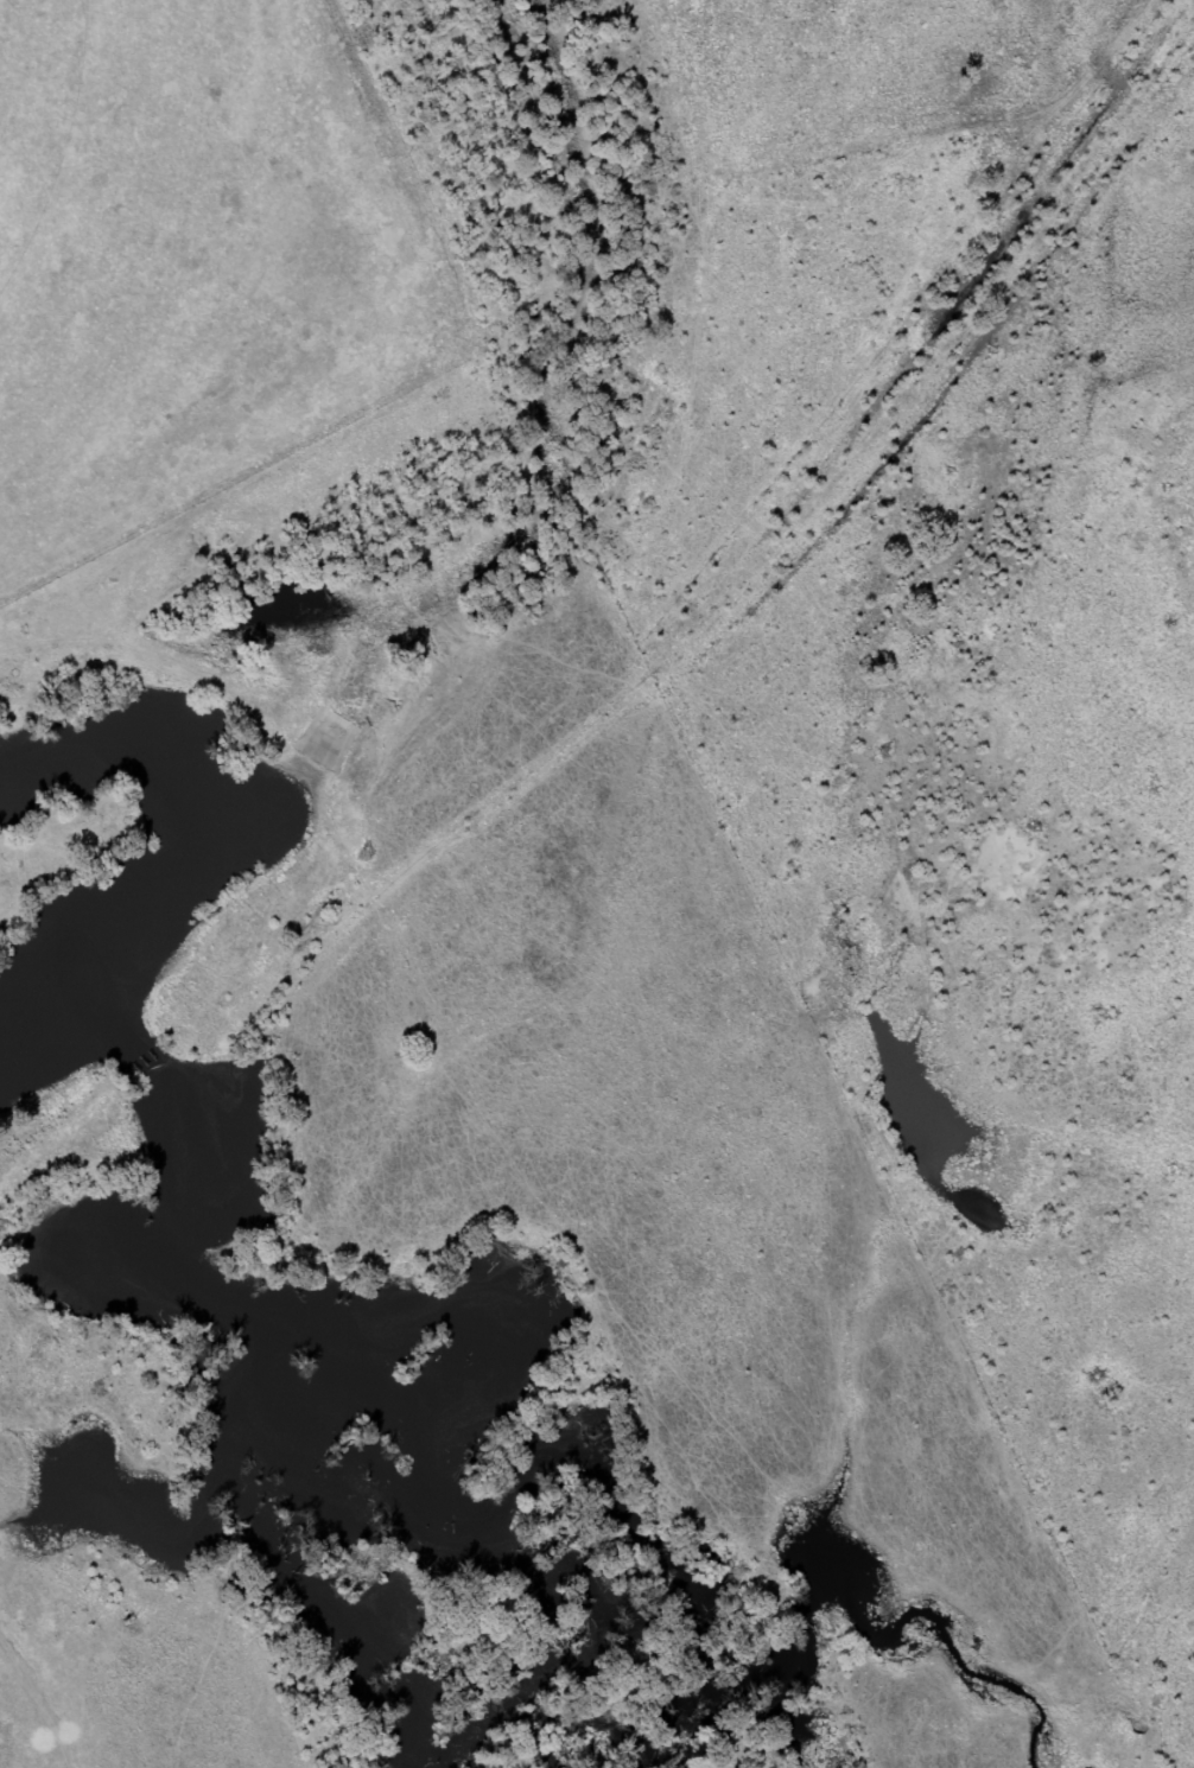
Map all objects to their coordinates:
railway: (646, 678)
road: (1169, 1699)

